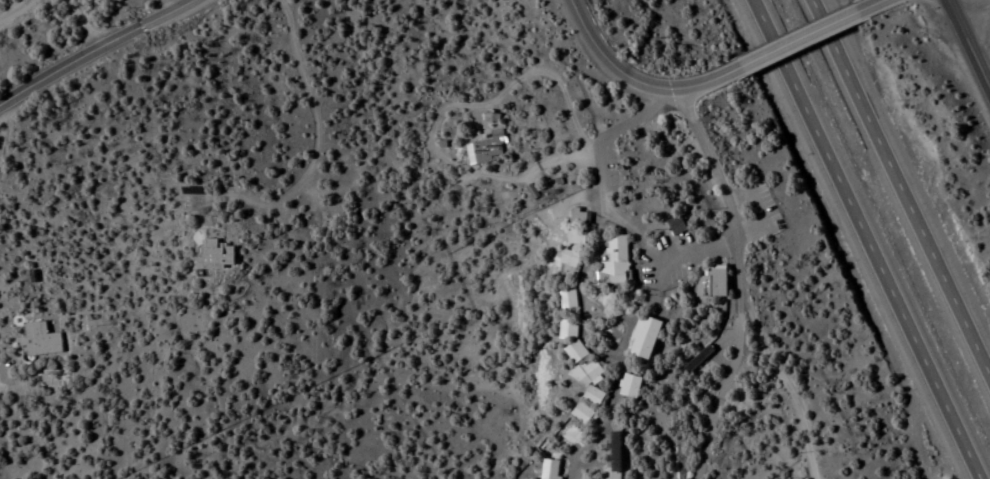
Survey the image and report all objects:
road: (874, 3)
road: (173, 5)
road: (973, 12)
road: (807, 34)
road: (968, 46)
road: (97, 49)
road: (645, 77)
road: (212, 149)
building: (487, 149)
road: (894, 196)
road: (612, 204)
road: (771, 207)
building: (578, 228)
road: (875, 239)
building: (620, 253)
building: (217, 255)
building: (570, 259)
building: (712, 283)
road: (738, 287)
building: (567, 301)
building: (644, 338)
building: (39, 341)
building: (697, 360)
building: (582, 363)
building: (629, 387)
building: (581, 413)
building: (615, 452)
building: (549, 469)

